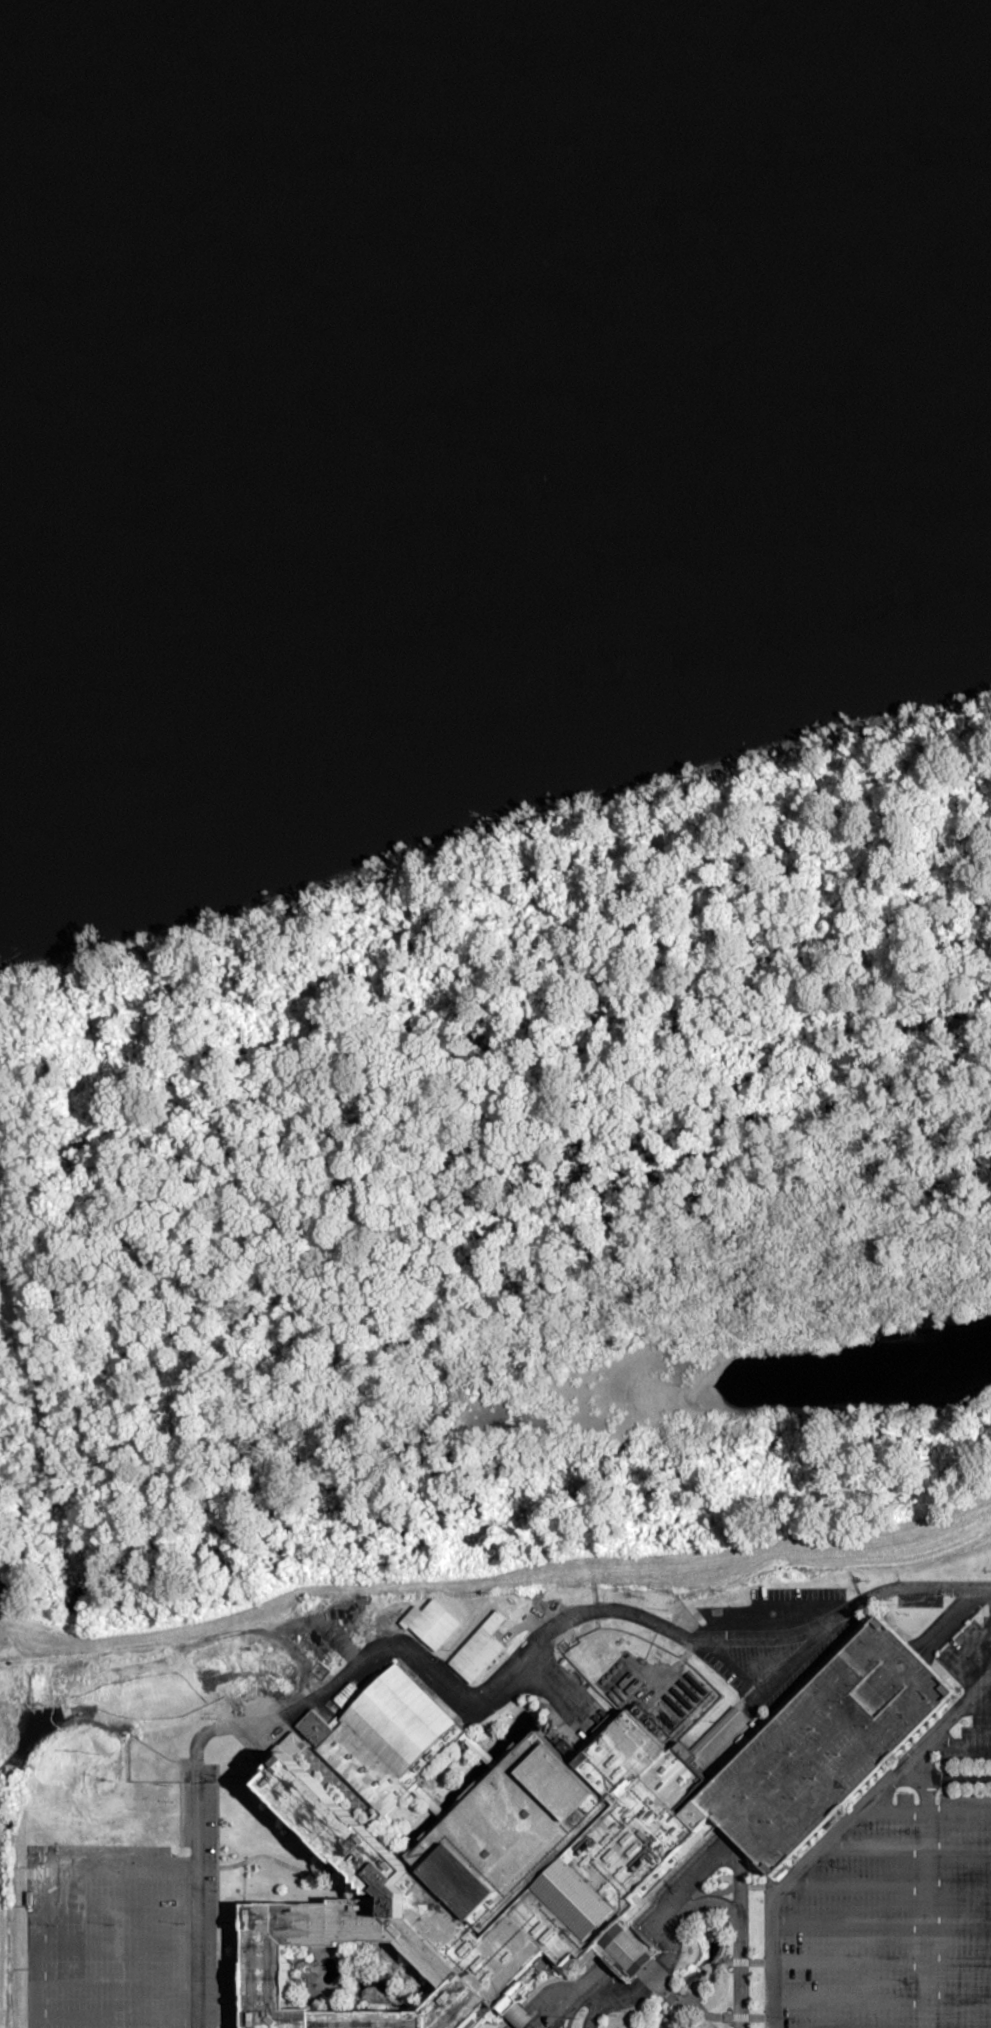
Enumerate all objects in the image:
river: (48, 10)
road: (926, 1587)
building: (436, 1624)
building: (483, 1650)
road: (501, 1678)
road: (945, 1726)
parking lot: (835, 1745)
building: (541, 1837)
road: (820, 1847)
road: (705, 1863)
road: (926, 1902)
road: (195, 1903)
road: (740, 1934)
road: (648, 1937)
road: (580, 2001)
road: (561, 2019)
building: (625, 2023)

